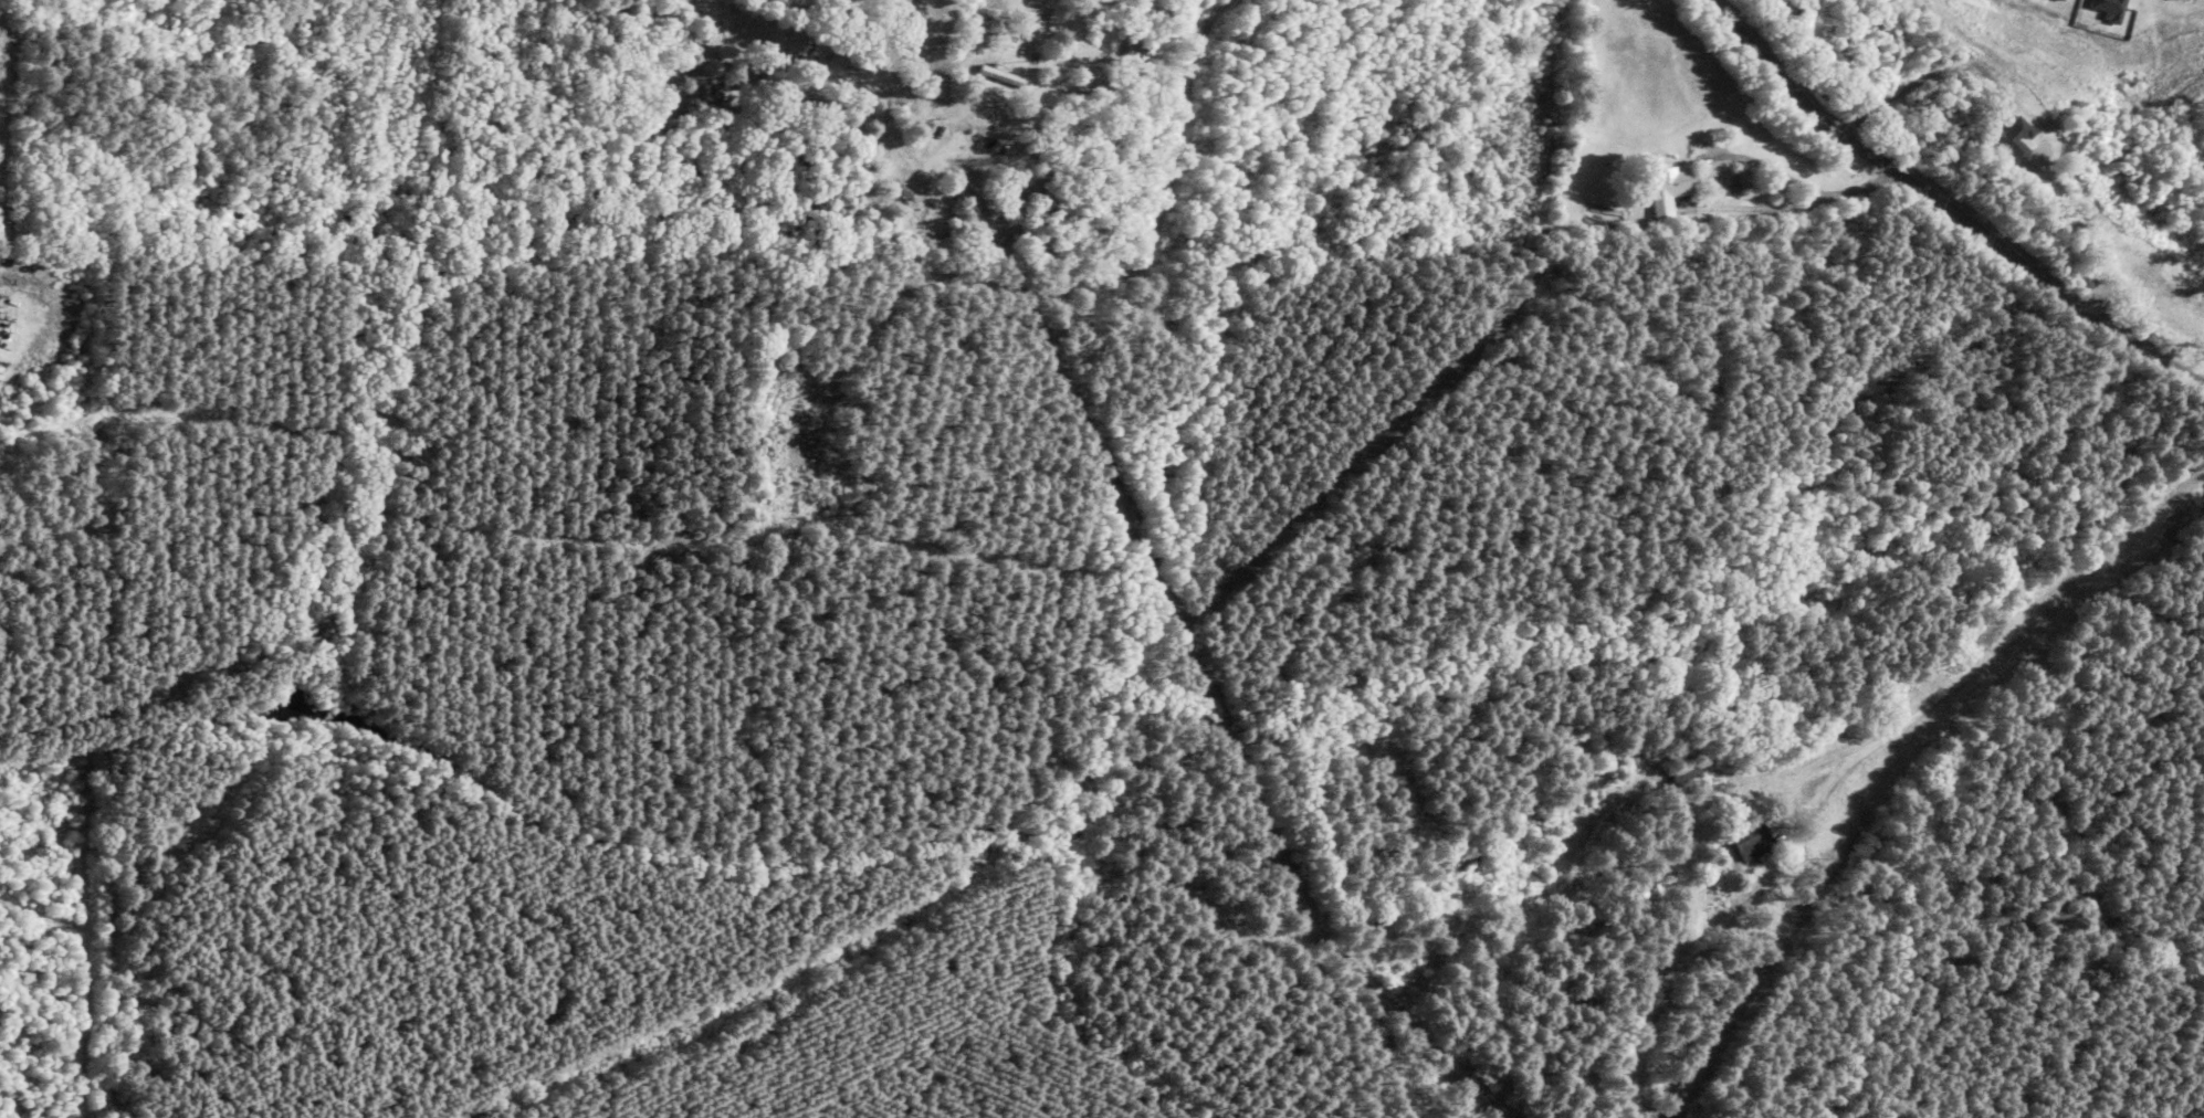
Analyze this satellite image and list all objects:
road: (1912, 76)
building: (1650, 183)
road: (1780, 187)
road: (1937, 211)
road: (2005, 647)
building: (1744, 841)
road: (1677, 949)

